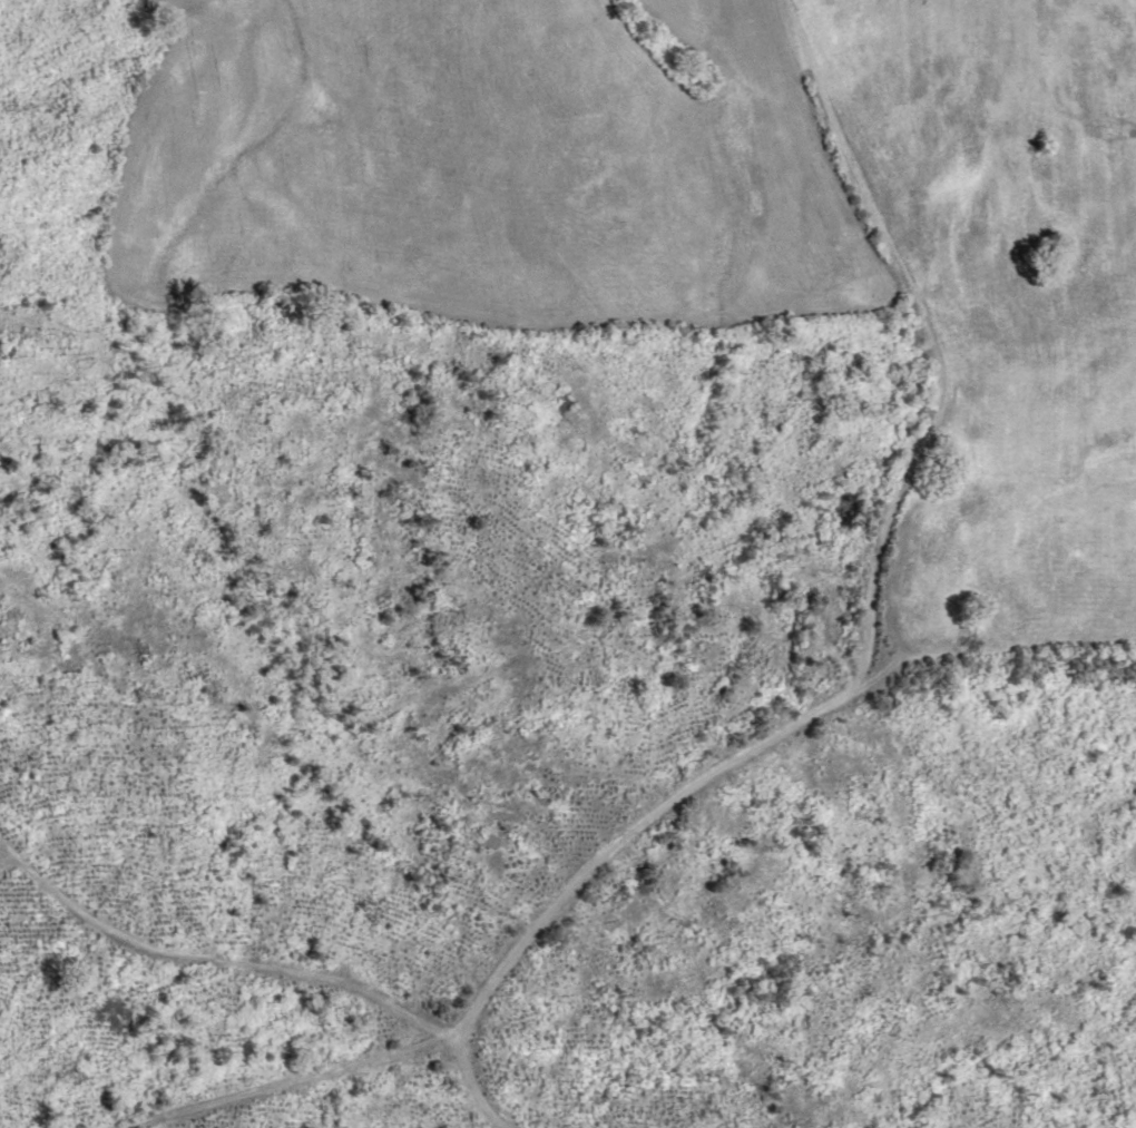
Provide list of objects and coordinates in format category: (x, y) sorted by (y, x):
road: (668, 693)

